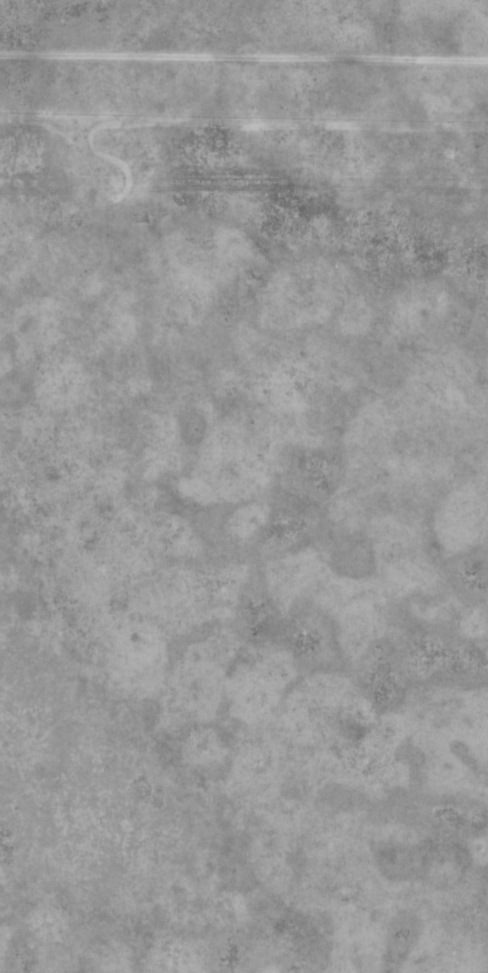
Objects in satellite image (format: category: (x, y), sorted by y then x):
road: (478, 3)
road: (244, 5)

